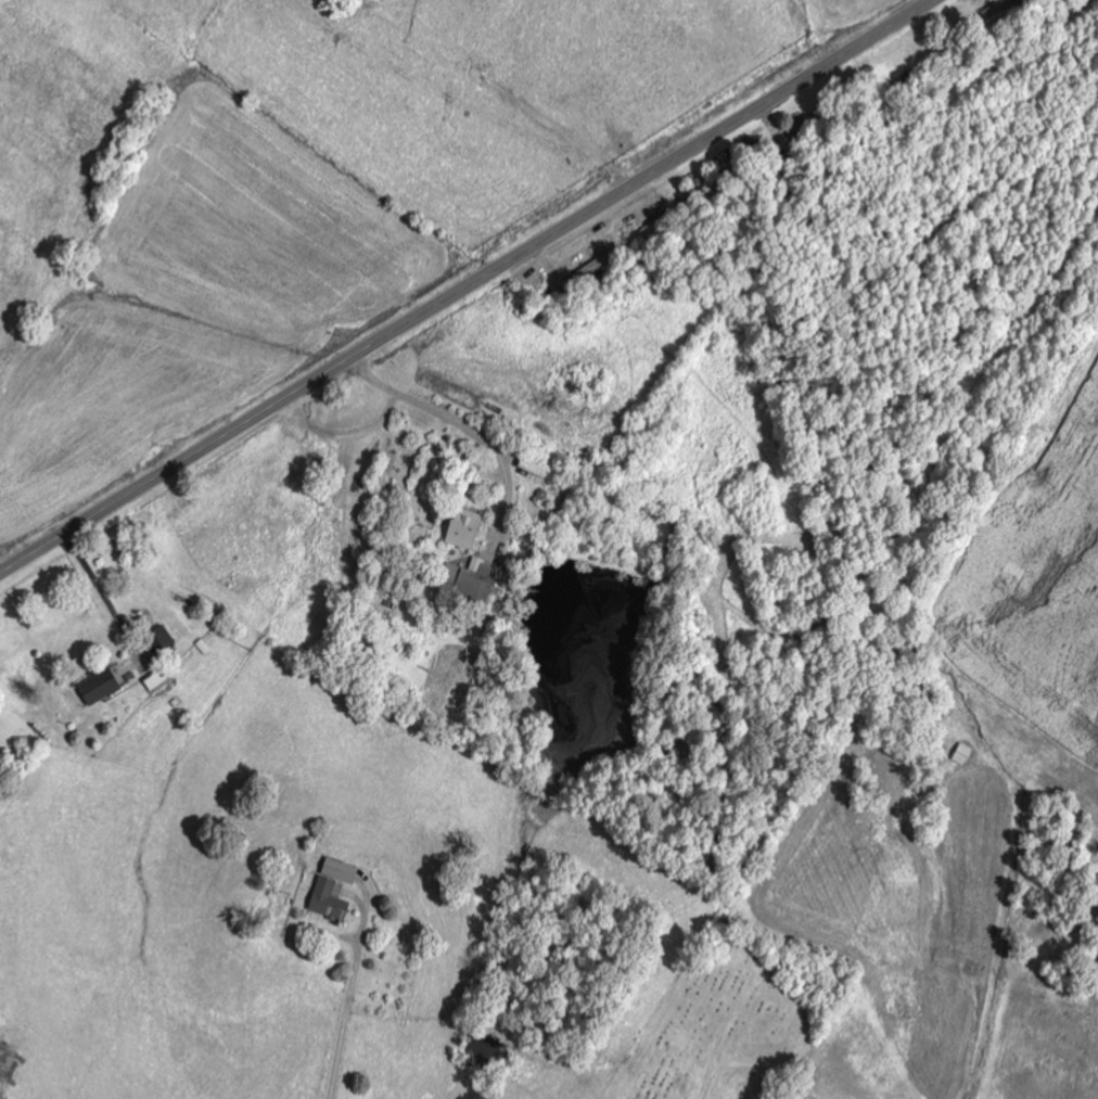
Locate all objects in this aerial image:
road: (465, 286)
building: (462, 528)
building: (471, 583)
building: (164, 637)
building: (99, 687)
building: (963, 754)
building: (336, 870)
building: (324, 899)
road: (348, 999)
park: (717, 1022)

